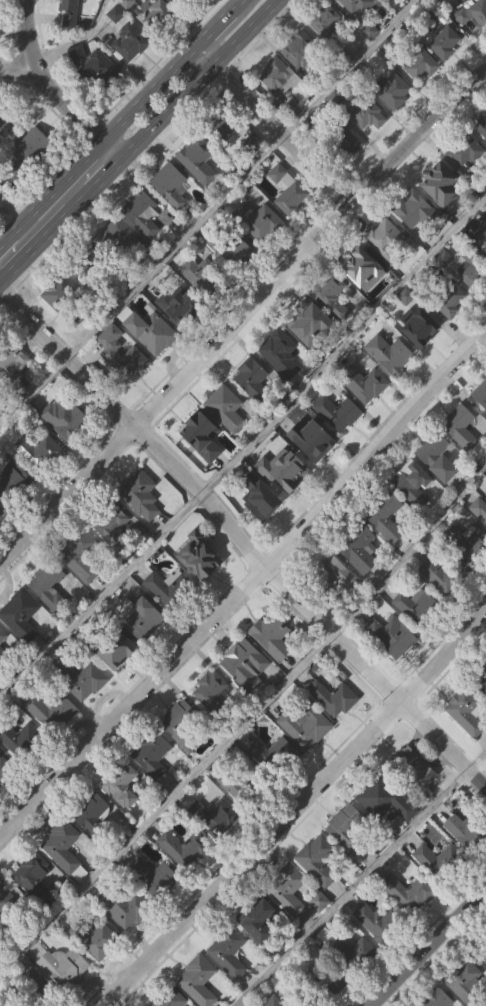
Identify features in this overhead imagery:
building: (386, 1)
building: (457, 1)
building: (181, 2)
building: (428, 2)
road: (234, 3)
building: (206, 5)
building: (359, 7)
building: (162, 10)
building: (473, 15)
building: (69, 20)
building: (324, 20)
road: (211, 26)
building: (353, 27)
building: (130, 41)
building: (444, 43)
building: (160, 46)
building: (475, 46)
building: (298, 47)
building: (325, 52)
building: (0, 58)
road: (19, 65)
building: (421, 65)
building: (96, 69)
building: (131, 73)
building: (446, 74)
road: (198, 79)
building: (299, 79)
building: (79, 85)
building: (282, 88)
road: (54, 90)
building: (394, 92)
building: (422, 96)
building: (99, 101)
building: (280, 107)
building: (367, 114)
building: (11, 121)
building: (226, 122)
building: (395, 123)
building: (481, 126)
road: (269, 127)
road: (101, 141)
building: (343, 143)
building: (36, 145)
building: (368, 145)
building: (465, 150)
building: (4, 157)
building: (482, 157)
building: (222, 158)
building: (198, 160)
road: (108, 172)
building: (347, 173)
building: (34, 177)
building: (442, 184)
building: (466, 184)
building: (170, 185)
building: (199, 191)
building: (288, 192)
road: (12, 209)
building: (415, 212)
building: (141, 213)
road: (207, 214)
building: (171, 217)
building: (441, 217)
building: (258, 220)
building: (290, 222)
road: (48, 233)
building: (119, 237)
building: (386, 239)
road: (5, 240)
building: (415, 241)
building: (143, 245)
building: (232, 249)
building: (484, 249)
building: (258, 251)
building: (358, 259)
building: (464, 265)
building: (85, 266)
building: (117, 268)
building: (386, 269)
building: (204, 276)
building: (485, 276)
building: (238, 280)
building: (330, 296)
building: (62, 298)
building: (363, 300)
building: (450, 300)
building: (175, 302)
building: (202, 306)
road: (242, 318)
building: (60, 323)
building: (305, 324)
building: (332, 327)
building: (149, 329)
building: (421, 329)
building: (452, 333)
building: (179, 335)
building: (111, 349)
building: (390, 352)
building: (280, 353)
building: (308, 353)
building: (12, 359)
building: (422, 360)
building: (153, 362)
building: (254, 380)
building: (364, 382)
building: (122, 384)
building: (282, 385)
building: (390, 385)
building: (14, 393)
building: (480, 393)
building: (225, 407)
building: (253, 410)
building: (337, 410)
building: (367, 416)
building: (64, 417)
building: (460, 426)
building: (480, 426)
building: (201, 434)
building: (227, 439)
building: (311, 439)
building: (338, 444)
building: (66, 448)
building: (37, 450)
road: (244, 451)
building: (435, 454)
building: (461, 458)
building: (202, 467)
building: (313, 471)
building: (282, 473)
building: (12, 477)
building: (39, 483)
building: (412, 483)
building: (438, 488)
building: (140, 494)
building: (259, 497)
building: (284, 502)
building: (479, 507)
building: (2, 510)
building: (385, 514)
building: (413, 514)
building: (109, 523)
building: (141, 526)
building: (261, 529)
road: (242, 541)
building: (385, 541)
building: (467, 542)
building: (358, 545)
building: (79, 555)
building: (114, 559)
building: (200, 560)
building: (393, 565)
building: (332, 572)
building: (445, 573)
building: (468, 573)
building: (361, 580)
building: (49, 584)
road: (245, 584)
building: (82, 587)
building: (170, 587)
building: (201, 587)
building: (337, 602)
building: (417, 605)
building: (445, 605)
building: (48, 610)
building: (20, 614)
building: (142, 619)
building: (170, 619)
building: (274, 635)
building: (417, 636)
building: (2, 637)
building: (392, 637)
building: (21, 646)
building: (142, 648)
building: (112, 649)
building: (2, 662)
building: (242, 663)
building: (392, 666)
building: (483, 666)
building: (273, 667)
building: (80, 679)
building: (117, 680)
building: (213, 693)
building: (246, 695)
building: (333, 697)
building: (466, 708)
building: (50, 711)
building: (84, 711)
building: (481, 715)
building: (214, 721)
road: (244, 723)
building: (182, 725)
building: (306, 726)
building: (334, 728)
building: (20, 739)
building: (51, 742)
building: (466, 743)
building: (152, 755)
building: (275, 755)
building: (182, 756)
building: (307, 756)
building: (408, 768)
building: (6, 770)
building: (121, 783)
building: (274, 785)
building: (155, 787)
building: (237, 787)
building: (413, 794)
building: (5, 798)
building: (377, 798)
road: (297, 809)
building: (239, 814)
building: (91, 815)
building: (123, 817)
building: (215, 818)
building: (463, 822)
building: (347, 828)
building: (378, 834)
building: (92, 844)
building: (62, 845)
building: (217, 845)
building: (184, 848)
building: (348, 858)
building: (430, 861)
building: (466, 861)
building: (320, 863)
building: (30, 875)
building: (64, 877)
building: (153, 878)
road: (361, 878)
building: (185, 879)
building: (289, 890)
building: (318, 891)
building: (411, 892)
building: (123, 905)
building: (34, 907)
building: (154, 908)
building: (8, 915)
building: (257, 919)
building: (289, 921)
building: (381, 922)
building: (411, 924)
building: (319, 931)
building: (126, 938)
building: (94, 939)
road: (429, 949)
building: (228, 950)
building: (346, 950)
building: (482, 951)
building: (261, 952)
building: (378, 952)
building: (64, 967)
building: (0, 969)
building: (99, 971)
building: (197, 980)
building: (321, 981)
building: (465, 982)
building: (229, 983)
building: (352, 983)
building: (483, 985)
building: (40, 990)
building: (66, 995)
building: (170, 998)
building: (437, 998)
building: (289, 1001)
building: (335, 1003)

